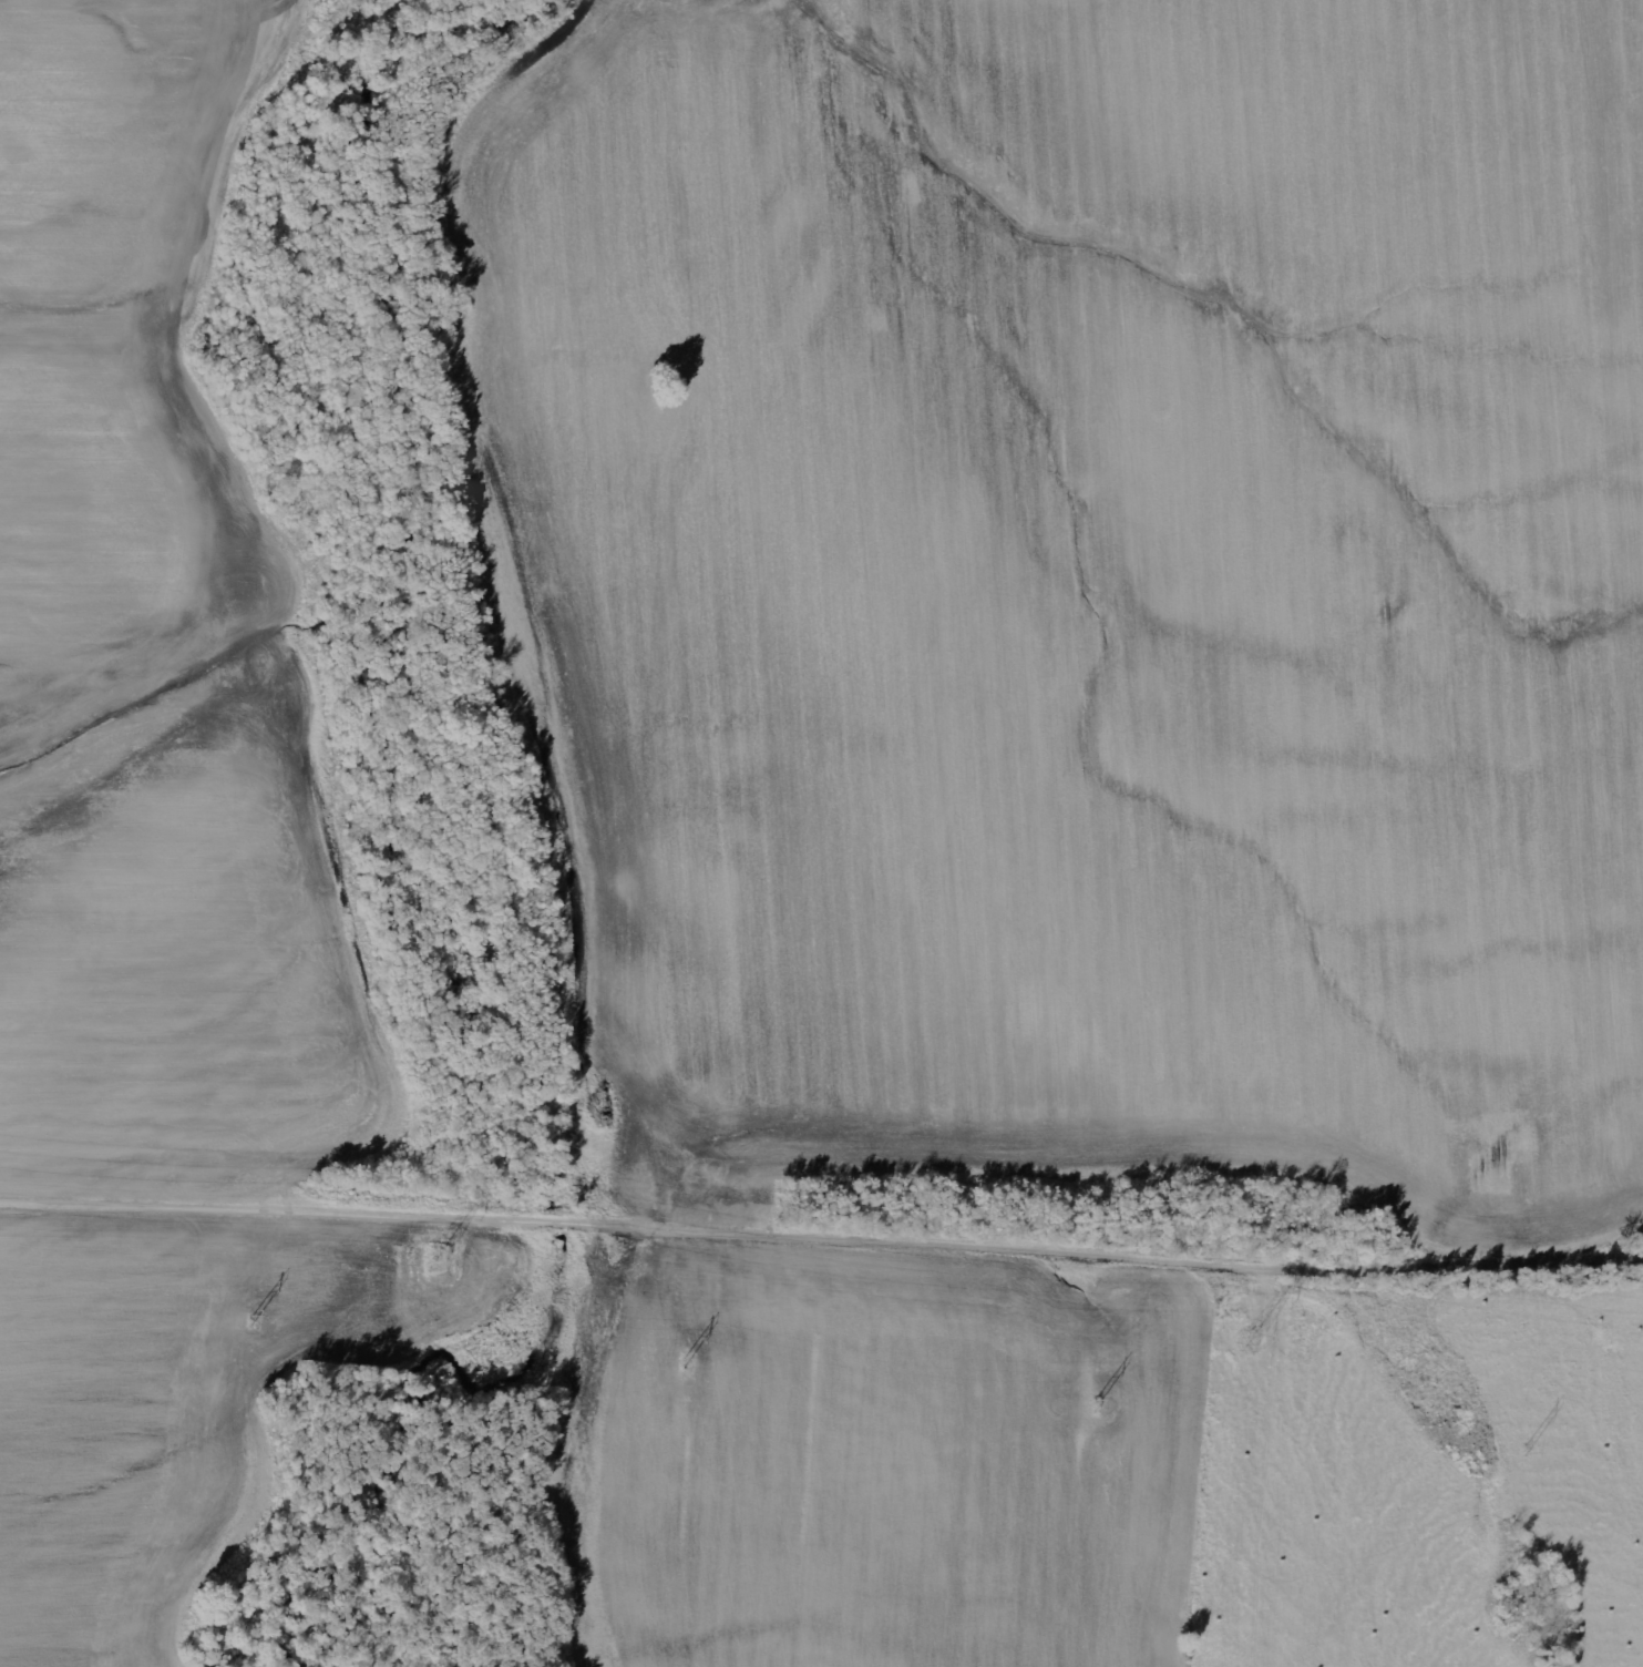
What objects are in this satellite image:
road: (821, 1226)
power tower: (434, 1262)
power tower: (1249, 1344)

